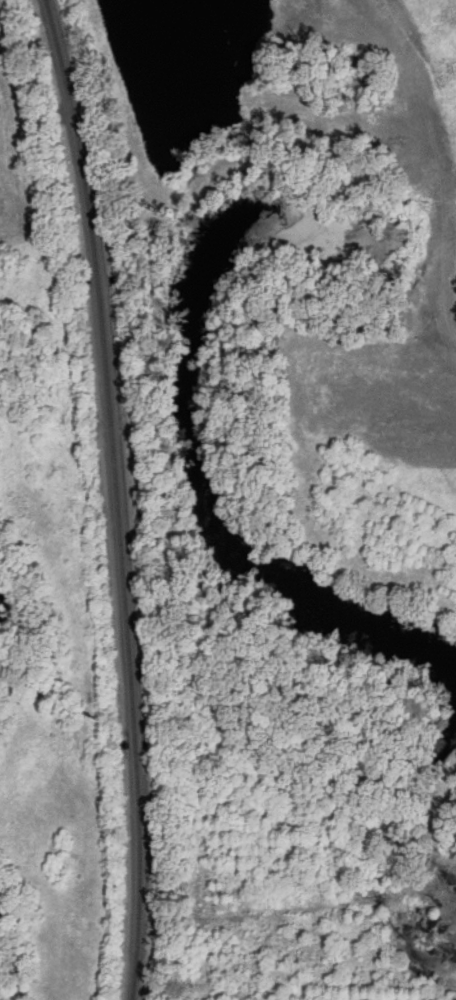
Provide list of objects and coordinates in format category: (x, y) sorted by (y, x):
railway: (116, 497)

